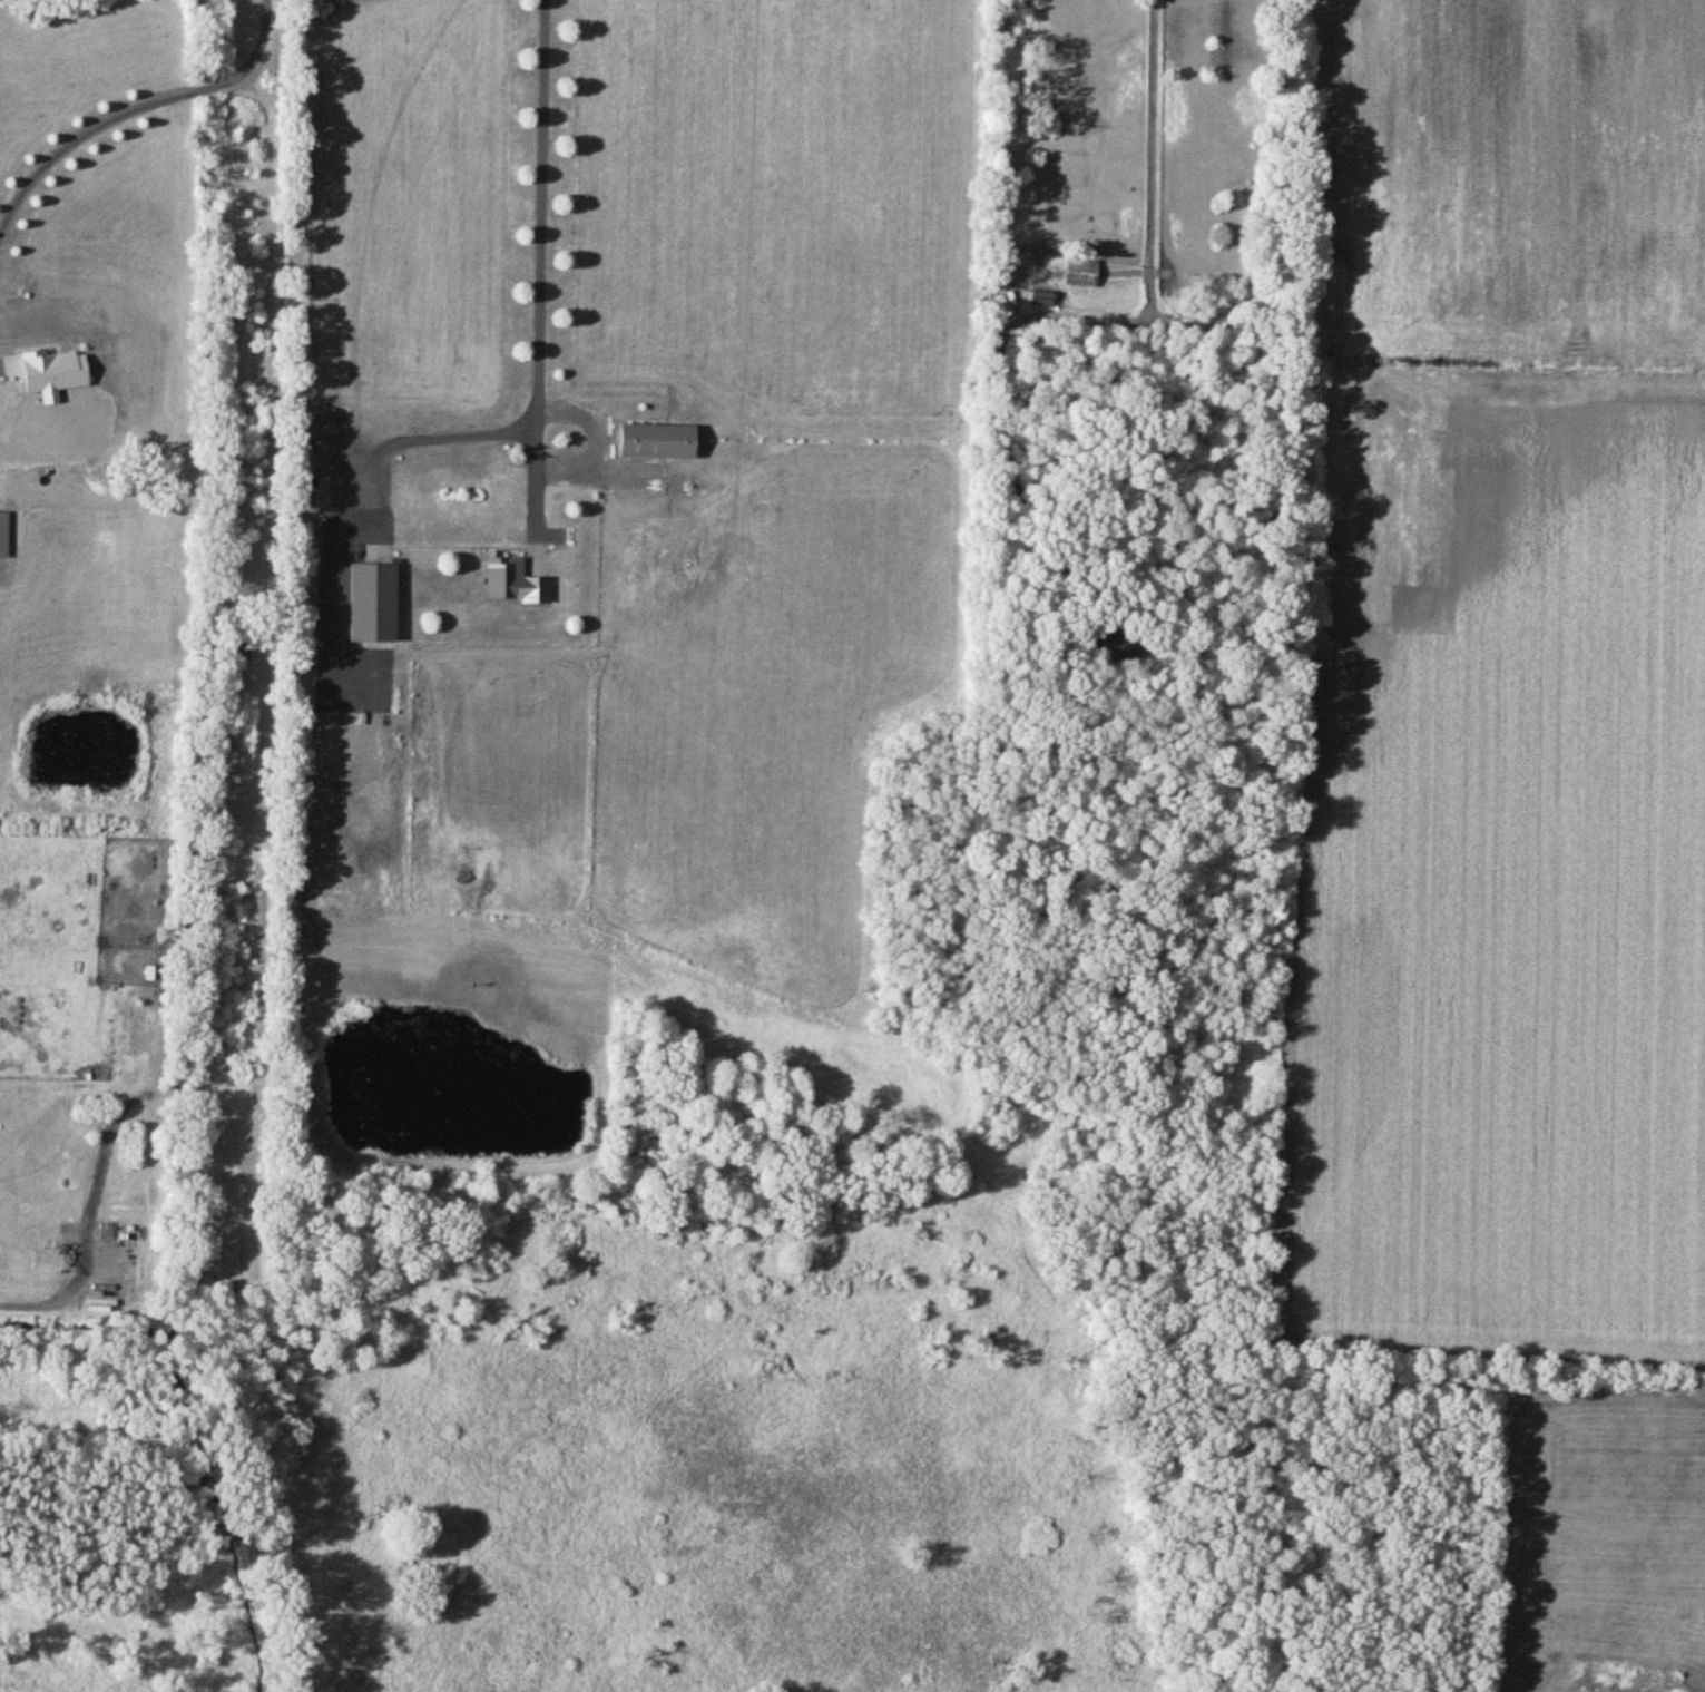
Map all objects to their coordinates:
road: (138, 107)
road: (543, 262)
road: (433, 439)
road: (57, 1298)

